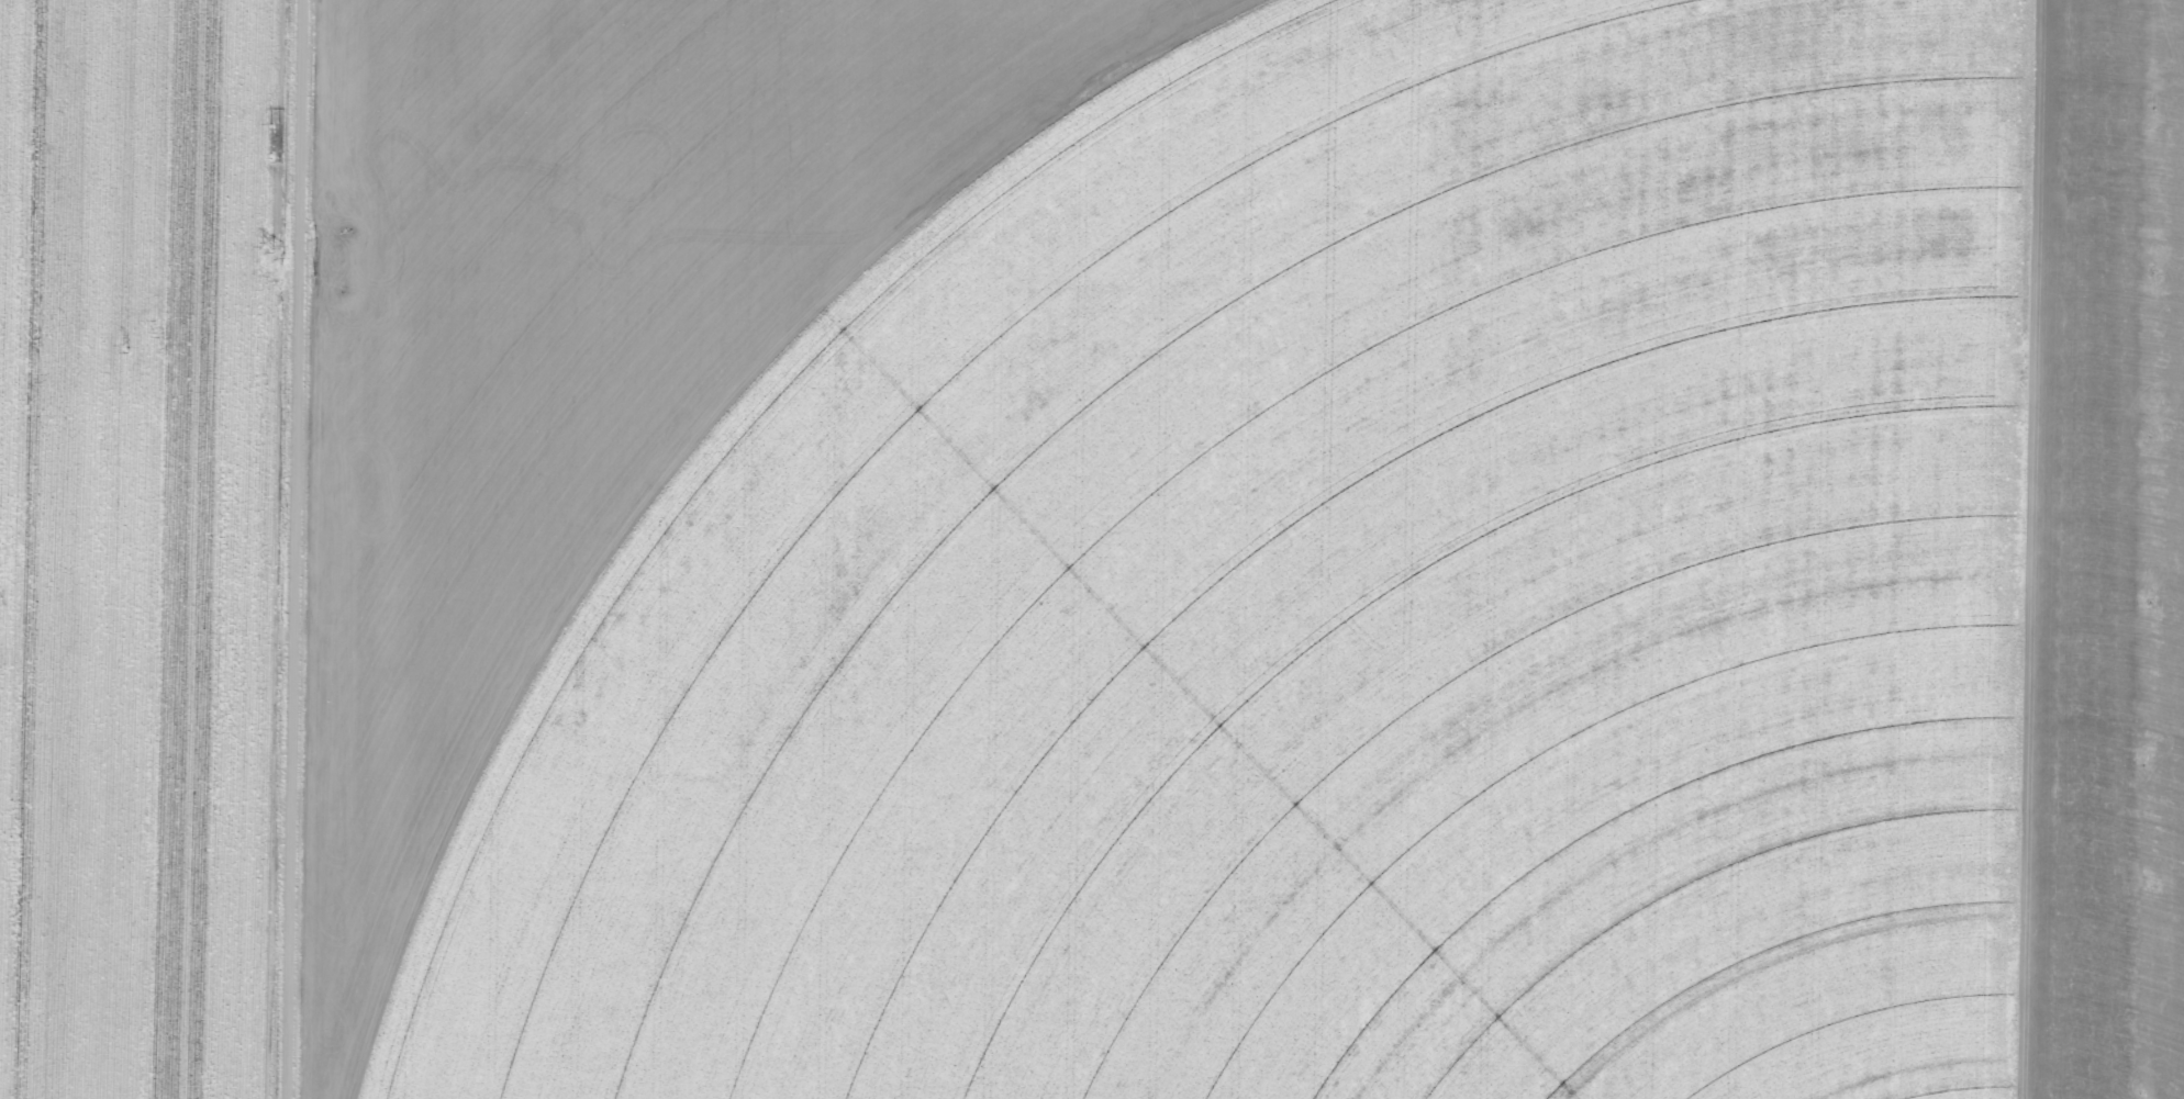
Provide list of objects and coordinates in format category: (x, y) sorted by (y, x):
power tower: (277, 120)
power tower: (277, 243)
power tower: (126, 343)
road: (299, 549)

